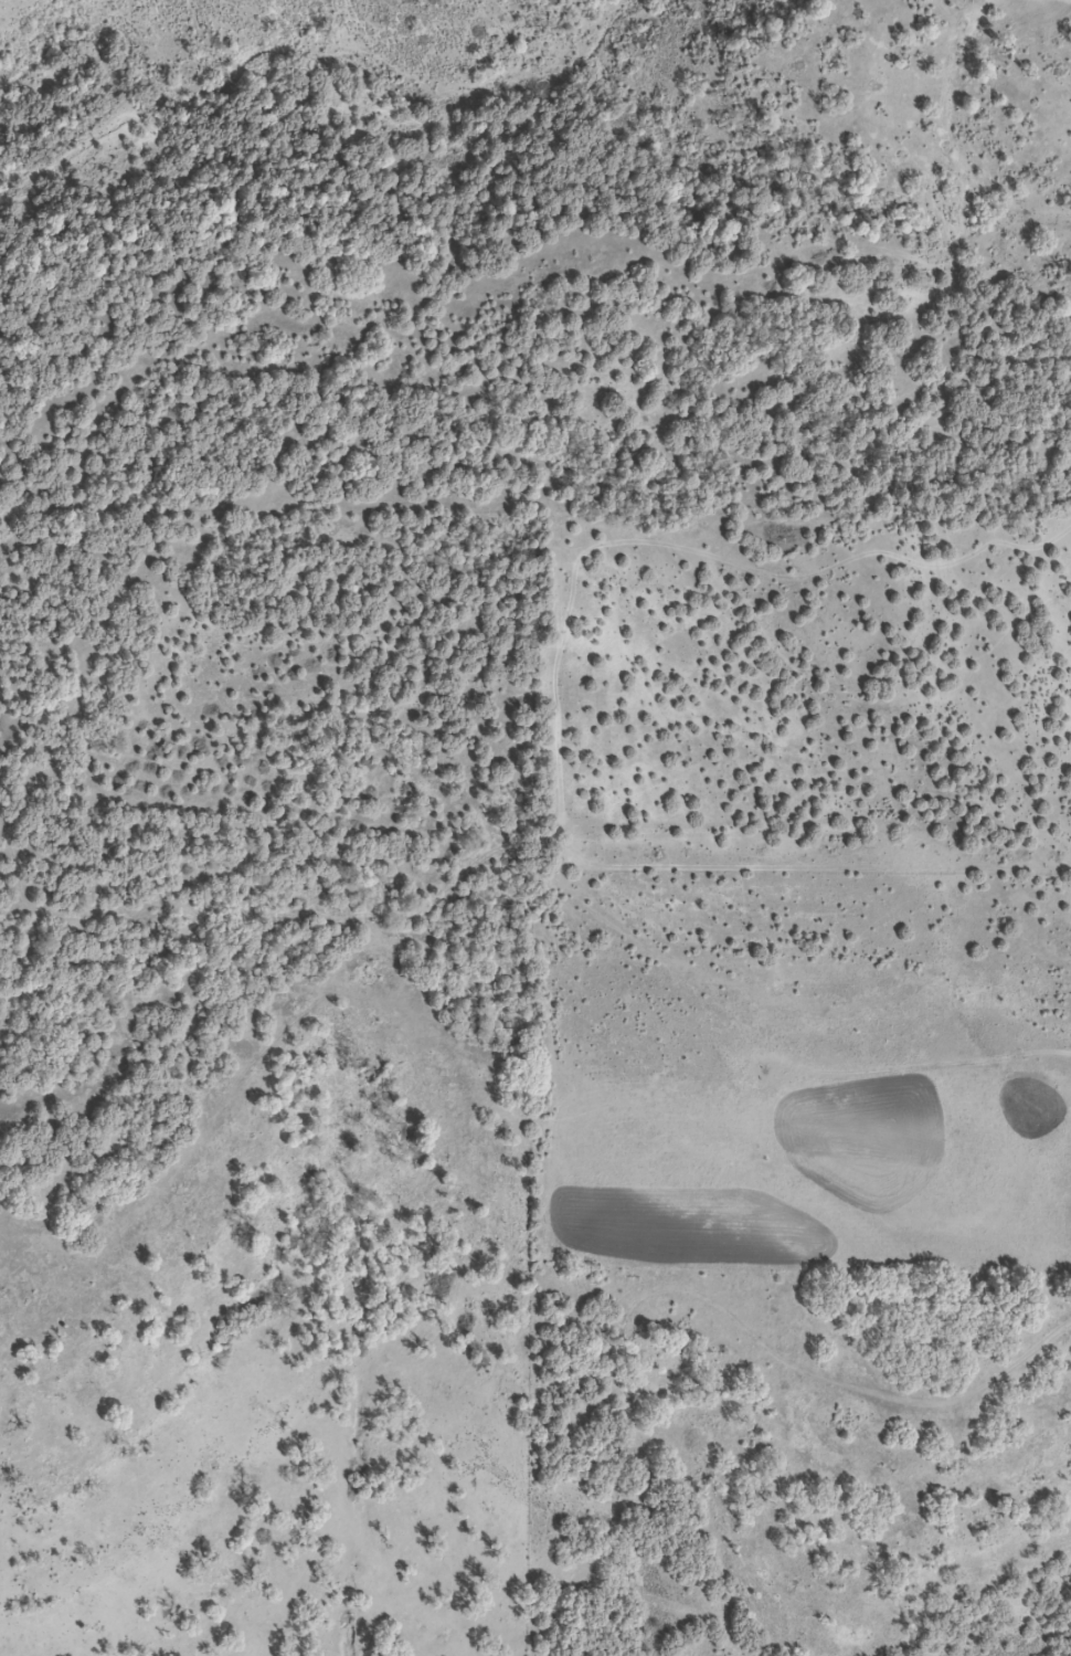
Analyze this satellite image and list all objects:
road: (351, 597)
road: (540, 1119)

